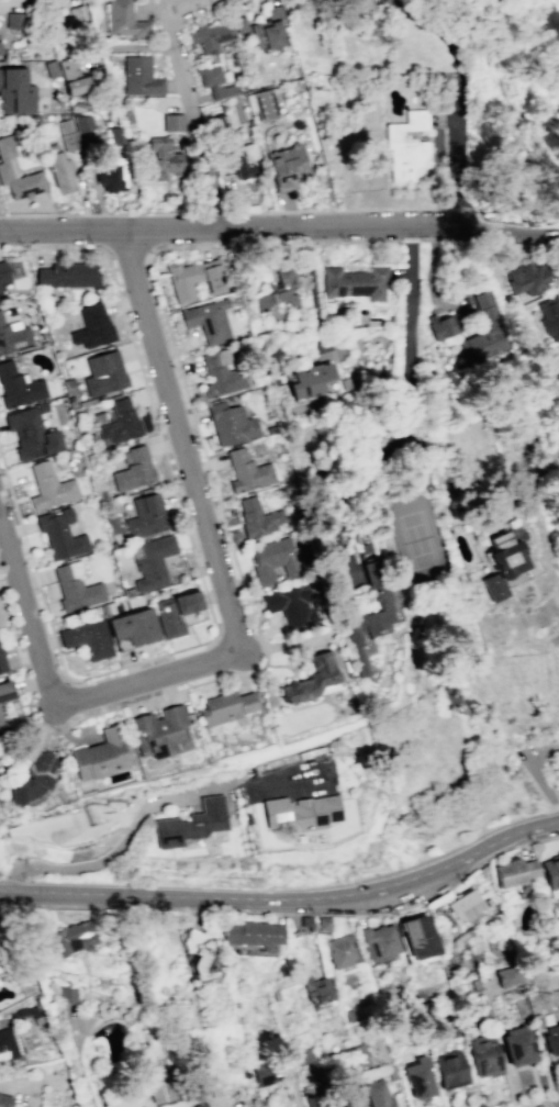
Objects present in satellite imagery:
road: (14, 2)
building: (48, 2)
building: (14, 20)
building: (123, 20)
building: (268, 30)
building: (210, 36)
road: (172, 44)
building: (0, 49)
park: (511, 71)
building: (71, 77)
building: (139, 77)
building: (215, 82)
building: (15, 91)
road: (457, 93)
building: (261, 104)
building: (172, 122)
building: (219, 124)
building: (85, 130)
road: (200, 134)
building: (406, 148)
building: (163, 158)
building: (5, 164)
building: (234, 166)
building: (287, 166)
building: (60, 172)
building: (111, 175)
road: (554, 221)
road: (501, 222)
road: (226, 224)
road: (1, 225)
road: (554, 232)
building: (3, 273)
building: (66, 275)
building: (195, 278)
building: (526, 278)
building: (355, 282)
road: (311, 286)
building: (0, 291)
building: (279, 291)
building: (549, 316)
building: (208, 321)
building: (91, 326)
building: (444, 326)
building: (485, 329)
building: (13, 336)
building: (103, 373)
building: (221, 373)
building: (309, 380)
building: (18, 387)
road: (557, 387)
building: (120, 422)
building: (231, 424)
road: (404, 426)
building: (30, 434)
road: (180, 439)
building: (133, 469)
building: (246, 471)
building: (49, 487)
building: (145, 516)
building: (257, 517)
building: (59, 534)
park: (415, 537)
building: (273, 559)
building: (503, 560)
building: (152, 562)
building: (291, 605)
road: (27, 611)
building: (175, 612)
building: (370, 613)
building: (133, 626)
building: (87, 638)
building: (1, 664)
road: (148, 677)
building: (311, 678)
building: (226, 707)
building: (2, 713)
building: (160, 731)
building: (99, 756)
road: (535, 772)
building: (33, 774)
building: (303, 812)
building: (192, 825)
road: (122, 848)
building: (558, 852)
building: (515, 873)
building: (552, 876)
road: (286, 899)
building: (462, 906)
building: (304, 921)
building: (323, 925)
building: (251, 933)
building: (415, 937)
building: (68, 939)
building: (380, 940)
building: (194, 952)
building: (342, 952)
building: (507, 977)
building: (317, 989)
building: (68, 994)
building: (524, 1011)
building: (552, 1041)
building: (7, 1044)
building: (518, 1048)
building: (304, 1055)
building: (483, 1055)
road: (80, 1066)
building: (451, 1072)
building: (264, 1074)
building: (418, 1077)
building: (160, 1091)
building: (378, 1095)
building: (351, 1096)
road: (537, 1100)
building: (4, 1102)
road: (547, 1103)
building: (317, 1104)
building: (201, 1105)
road: (135, 1106)
building: (251, 1106)

